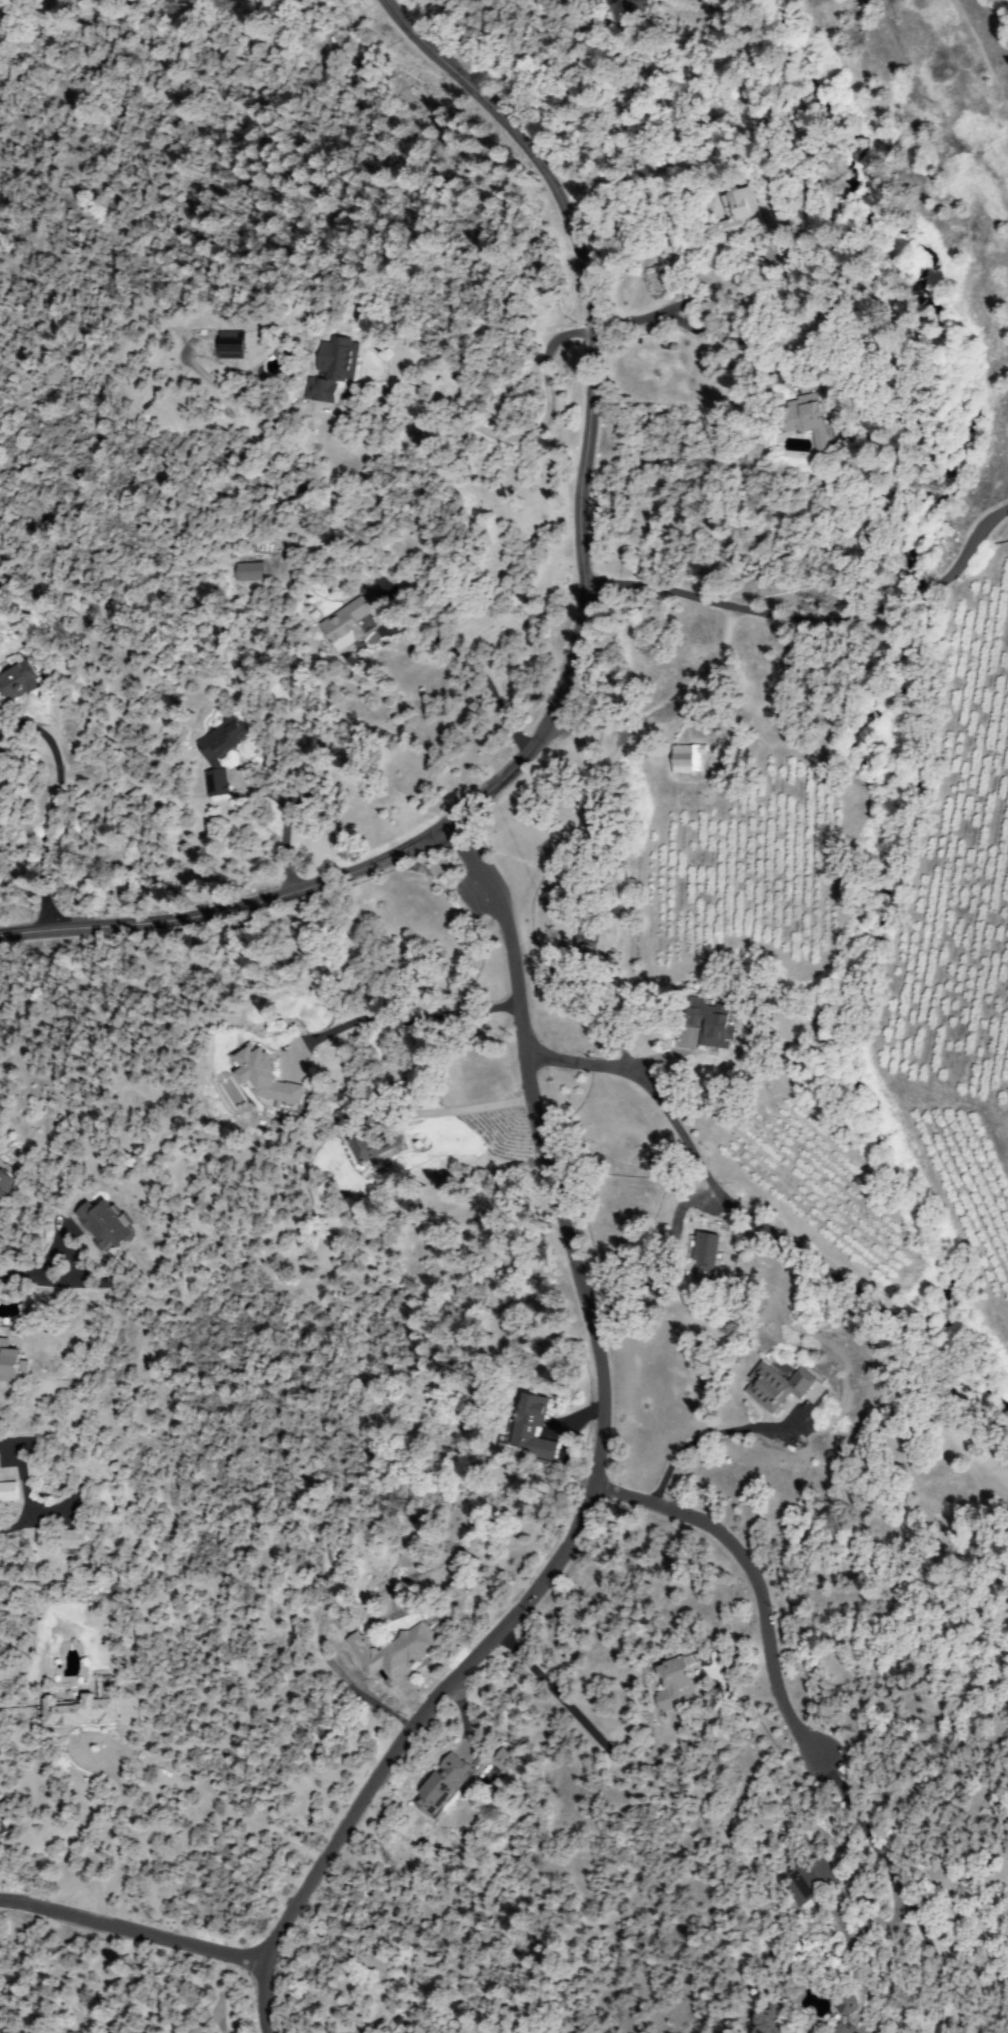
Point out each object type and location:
building: (635, 15)
road: (595, 99)
road: (545, 119)
building: (704, 127)
building: (742, 213)
building: (234, 344)
building: (333, 369)
building: (806, 419)
building: (251, 572)
road: (806, 615)
building: (347, 625)
road: (564, 639)
building: (18, 679)
building: (221, 752)
building: (688, 759)
building: (587, 941)
building: (711, 1024)
building: (263, 1076)
building: (370, 1143)
building: (5, 1185)
building: (2, 1213)
building: (105, 1225)
road: (760, 1230)
building: (705, 1259)
building: (11, 1362)
building: (777, 1387)
building: (532, 1427)
road: (598, 1430)
building: (8, 1491)
building: (74, 1540)
road: (752, 1590)
building: (395, 1651)
building: (678, 1682)
road: (359, 1684)
building: (79, 1710)
building: (504, 1758)
building: (442, 1785)
building: (811, 1881)
road: (126, 1936)
road: (267, 1999)
building: (852, 2007)
building: (773, 2021)
building: (410, 2032)
building: (418, 2032)

